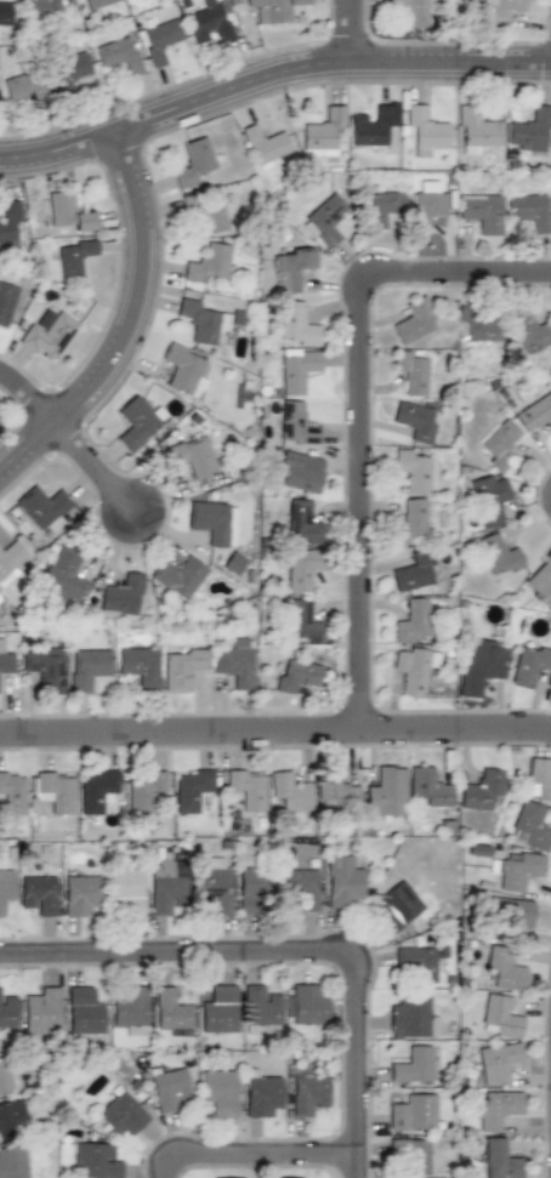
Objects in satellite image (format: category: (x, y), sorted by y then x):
building: (91, 4)
building: (44, 7)
building: (274, 8)
building: (410, 8)
building: (501, 11)
building: (5, 15)
building: (208, 22)
road: (350, 32)
building: (160, 39)
building: (118, 55)
building: (69, 72)
road: (269, 76)
building: (25, 86)
building: (375, 124)
building: (476, 129)
building: (322, 131)
building: (532, 131)
building: (425, 132)
building: (266, 142)
building: (193, 163)
building: (380, 209)
building: (427, 210)
building: (529, 210)
building: (68, 211)
building: (482, 211)
building: (212, 214)
building: (325, 218)
building: (10, 224)
building: (73, 258)
building: (210, 262)
building: (292, 269)
building: (6, 303)
building: (204, 320)
building: (414, 320)
building: (297, 324)
building: (477, 325)
building: (529, 330)
building: (49, 334)
road: (138, 334)
building: (183, 369)
building: (297, 369)
building: (411, 371)
road: (33, 403)
building: (535, 414)
road: (368, 421)
building: (415, 421)
building: (137, 422)
building: (296, 426)
building: (499, 444)
building: (194, 456)
building: (414, 470)
building: (300, 471)
road: (102, 479)
building: (489, 500)
building: (41, 503)
building: (302, 520)
building: (411, 520)
building: (210, 522)
building: (499, 554)
building: (12, 560)
building: (233, 563)
building: (303, 568)
building: (415, 573)
building: (62, 575)
building: (180, 575)
building: (539, 585)
building: (120, 596)
building: (301, 621)
building: (411, 621)
building: (6, 658)
building: (140, 664)
building: (235, 664)
building: (529, 664)
building: (481, 665)
building: (181, 666)
building: (45, 667)
building: (89, 668)
building: (415, 670)
building: (302, 672)
road: (275, 739)
building: (540, 776)
building: (13, 786)
building: (430, 786)
building: (245, 787)
building: (481, 787)
building: (97, 789)
building: (143, 789)
building: (191, 789)
building: (55, 790)
building: (290, 791)
building: (337, 792)
building: (387, 792)
building: (530, 825)
building: (519, 870)
building: (345, 881)
building: (165, 886)
building: (211, 886)
building: (6, 887)
building: (301, 887)
building: (125, 888)
building: (254, 888)
building: (39, 893)
building: (79, 893)
building: (397, 906)
building: (517, 912)
road: (292, 957)
building: (415, 962)
building: (505, 968)
building: (307, 1005)
building: (260, 1006)
building: (171, 1008)
building: (81, 1009)
building: (130, 1009)
building: (218, 1009)
building: (7, 1011)
building: (41, 1011)
building: (500, 1015)
building: (411, 1018)
building: (499, 1060)
building: (413, 1064)
building: (4, 1076)
building: (167, 1087)
building: (220, 1092)
building: (307, 1094)
building: (262, 1096)
building: (495, 1108)
building: (413, 1111)
building: (121, 1112)
building: (11, 1115)
building: (410, 1154)
road: (260, 1157)
building: (501, 1159)
building: (95, 1161)
building: (12, 1162)
building: (289, 1177)

